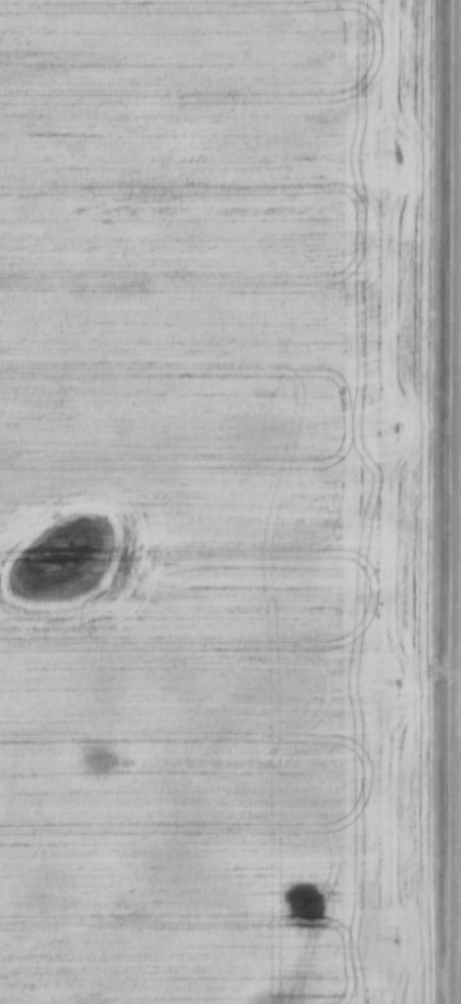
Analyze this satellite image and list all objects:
road: (453, 502)

